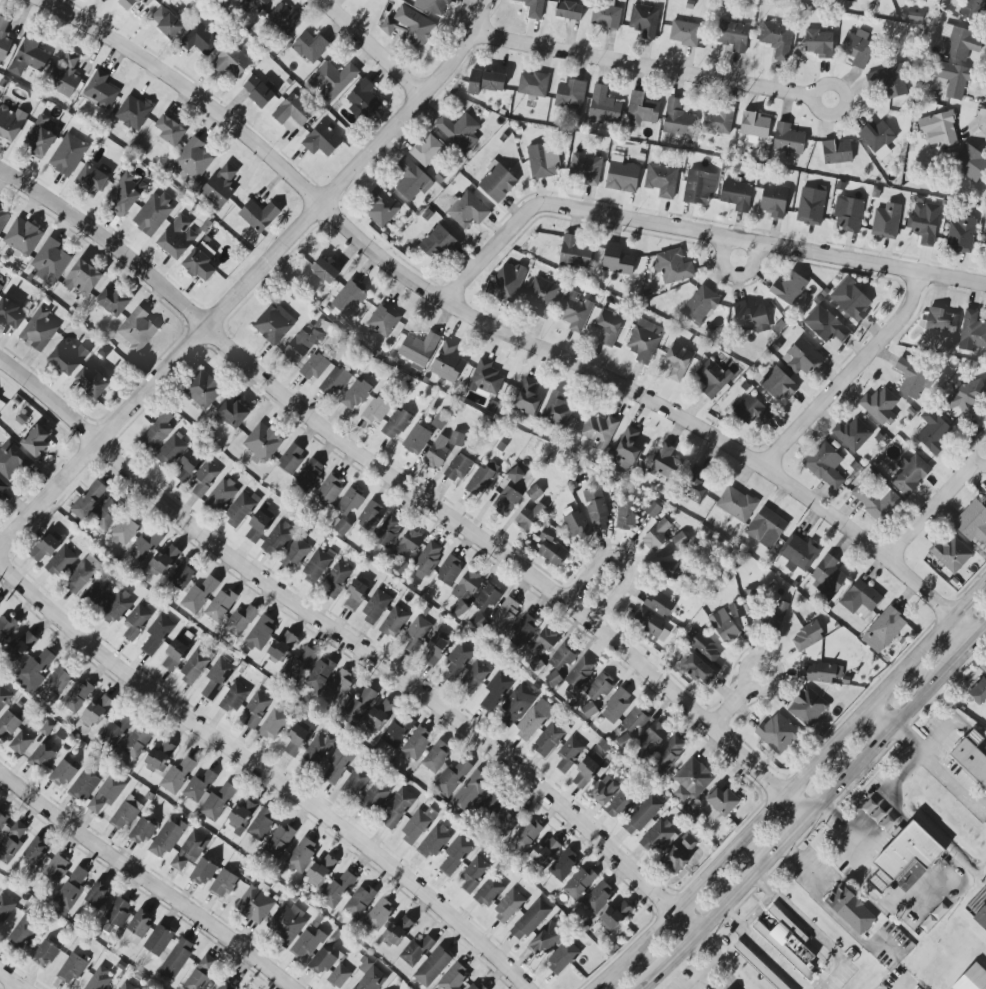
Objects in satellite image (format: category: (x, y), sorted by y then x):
building: (365, 0)
building: (851, 0)
building: (147, 2)
building: (127, 4)
building: (432, 6)
building: (533, 8)
building: (570, 9)
building: (974, 11)
building: (605, 17)
building: (284, 18)
building: (644, 21)
building: (166, 22)
building: (409, 27)
building: (684, 33)
building: (733, 36)
building: (4, 39)
building: (776, 39)
building: (200, 40)
building: (961, 42)
building: (819, 43)
building: (310, 47)
road: (377, 48)
building: (857, 48)
building: (29, 55)
building: (232, 61)
road: (656, 66)
building: (65, 74)
building: (953, 78)
building: (333, 80)
building: (486, 81)
building: (888, 81)
building: (533, 85)
building: (100, 89)
building: (258, 91)
building: (363, 100)
building: (603, 106)
building: (641, 110)
building: (292, 111)
building: (133, 112)
building: (678, 120)
building: (718, 120)
building: (11, 123)
building: (755, 125)
building: (938, 129)
building: (170, 130)
building: (459, 131)
building: (875, 136)
building: (40, 138)
building: (788, 139)
building: (322, 140)
building: (427, 150)
building: (837, 152)
building: (68, 155)
building: (193, 159)
building: (540, 161)
building: (970, 163)
building: (586, 168)
building: (622, 174)
building: (91, 178)
building: (411, 179)
building: (661, 180)
building: (497, 181)
building: (220, 186)
building: (699, 188)
building: (126, 194)
building: (736, 195)
building: (774, 201)
building: (810, 205)
building: (380, 208)
building: (468, 211)
building: (153, 214)
building: (848, 214)
building: (259, 216)
building: (3, 219)
building: (886, 221)
building: (923, 221)
road: (699, 232)
building: (961, 235)
building: (22, 237)
building: (177, 237)
building: (985, 243)
building: (437, 244)
building: (575, 251)
road: (747, 251)
building: (617, 260)
building: (50, 262)
building: (199, 266)
building: (673, 267)
building: (325, 270)
building: (82, 278)
building: (507, 282)
road: (254, 283)
building: (0, 286)
building: (788, 288)
building: (541, 297)
building: (350, 299)
building: (851, 299)
building: (114, 302)
building: (700, 305)
building: (574, 310)
building: (10, 314)
building: (753, 319)
building: (383, 320)
building: (941, 323)
building: (273, 324)
building: (825, 325)
building: (608, 327)
road: (499, 329)
building: (38, 330)
building: (137, 330)
building: (972, 330)
building: (644, 340)
building: (418, 349)
building: (68, 356)
building: (803, 358)
building: (677, 361)
building: (447, 363)
building: (316, 365)
road: (853, 375)
building: (486, 378)
building: (712, 378)
building: (913, 378)
building: (91, 382)
building: (334, 382)
building: (778, 385)
building: (202, 390)
building: (355, 395)
building: (965, 395)
building: (527, 398)
building: (879, 406)
building: (557, 410)
building: (751, 410)
building: (375, 411)
building: (232, 414)
building: (396, 424)
building: (599, 431)
building: (932, 432)
building: (852, 434)
building: (155, 435)
building: (417, 439)
building: (456, 439)
building: (36, 441)
building: (262, 442)
building: (171, 450)
building: (626, 450)
building: (437, 453)
building: (291, 459)
building: (12, 461)
building: (664, 462)
building: (187, 466)
building: (825, 466)
building: (458, 468)
building: (309, 474)
building: (515, 474)
building: (910, 475)
building: (205, 478)
building: (481, 479)
road: (413, 480)
building: (2, 487)
building: (695, 487)
building: (330, 488)
building: (535, 493)
building: (220, 496)
building: (984, 497)
building: (89, 500)
building: (876, 500)
building: (506, 501)
building: (349, 502)
building: (736, 504)
road: (938, 505)
building: (596, 508)
building: (652, 509)
building: (239, 510)
building: (106, 514)
building: (625, 516)
building: (529, 517)
building: (368, 518)
building: (973, 523)
building: (576, 525)
building: (257, 526)
building: (342, 527)
building: (767, 527)
building: (124, 531)
building: (388, 531)
building: (656, 536)
building: (276, 539)
building: (679, 540)
building: (145, 545)
building: (45, 548)
building: (406, 549)
building: (551, 549)
building: (799, 552)
building: (951, 553)
building: (295, 555)
building: (164, 559)
building: (427, 560)
building: (61, 562)
building: (316, 566)
building: (449, 570)
building: (82, 574)
building: (182, 575)
building: (827, 578)
building: (335, 579)
road: (611, 581)
building: (464, 591)
building: (99, 592)
building: (199, 595)
building: (355, 595)
building: (487, 598)
building: (860, 599)
building: (658, 603)
building: (221, 605)
building: (118, 606)
building: (375, 606)
building: (736, 611)
building: (505, 613)
building: (776, 614)
building: (240, 621)
building: (136, 622)
building: (394, 622)
building: (650, 624)
building: (723, 626)
building: (6, 627)
building: (883, 630)
building: (523, 631)
building: (260, 633)
building: (416, 634)
road: (982, 634)
building: (156, 635)
building: (807, 637)
road: (358, 639)
building: (21, 646)
building: (281, 646)
building: (705, 647)
building: (434, 651)
building: (174, 656)
building: (563, 657)
road: (960, 657)
building: (457, 660)
building: (299, 664)
building: (194, 667)
building: (697, 670)
building: (34, 671)
building: (822, 672)
building: (580, 673)
building: (319, 674)
building: (473, 678)
building: (216, 679)
building: (57, 681)
building: (339, 685)
building: (600, 687)
building: (496, 690)
building: (978, 691)
building: (4, 696)
building: (77, 696)
building: (234, 698)
road: (918, 702)
building: (359, 705)
building: (616, 705)
road: (737, 705)
building: (515, 706)
building: (807, 706)
building: (254, 710)
building: (589, 710)
building: (96, 711)
building: (379, 716)
road: (881, 716)
building: (534, 719)
building: (634, 720)
building: (8, 725)
building: (272, 725)
building: (396, 732)
building: (110, 734)
building: (653, 734)
building: (777, 734)
road: (975, 737)
road: (909, 738)
building: (973, 738)
building: (548, 739)
building: (295, 740)
building: (136, 741)
building: (20, 743)
building: (417, 743)
road: (928, 744)
road: (983, 744)
building: (318, 750)
building: (669, 753)
building: (568, 754)
building: (159, 755)
building: (41, 757)
building: (436, 757)
building: (970, 761)
road: (267, 765)
building: (337, 765)
building: (585, 772)
building: (62, 774)
building: (177, 776)
road: (798, 777)
building: (451, 778)
building: (691, 780)
building: (355, 782)
building: (84, 786)
building: (603, 791)
building: (107, 793)
building: (468, 793)
building: (208, 795)
building: (375, 797)
road: (966, 799)
building: (722, 801)
building: (492, 803)
building: (618, 805)
building: (396, 809)
building: (126, 813)
building: (642, 815)
building: (240, 817)
building: (3, 819)
building: (509, 819)
building: (261, 824)
building: (417, 825)
road: (841, 825)
building: (142, 831)
building: (526, 835)
building: (657, 836)
building: (166, 838)
building: (279, 841)
building: (432, 842)
building: (688, 842)
building: (11, 843)
building: (190, 850)
building: (35, 851)
building: (545, 852)
building: (301, 855)
building: (455, 855)
building: (904, 855)
building: (674, 861)
road: (768, 861)
building: (563, 865)
building: (56, 867)
building: (321, 870)
building: (202, 872)
building: (473, 873)
road: (147, 879)
building: (223, 883)
building: (579, 883)
building: (71, 888)
building: (337, 890)
building: (489, 892)
building: (98, 894)
building: (597, 897)
building: (358, 901)
building: (255, 903)
building: (508, 906)
building: (5, 907)
road: (755, 909)
building: (849, 910)
building: (378, 914)
building: (615, 915)
building: (981, 918)
building: (530, 920)
building: (286, 924)
building: (787, 925)
building: (138, 927)
building: (22, 931)
building: (397, 931)
road: (810, 931)
building: (546, 938)
building: (158, 940)
building: (306, 944)
road: (709, 944)
building: (791, 944)
road: (764, 949)
building: (782, 949)
building: (415, 951)
building: (45, 954)
building: (562, 957)
building: (175, 959)
building: (321, 962)
building: (758, 966)
building: (432, 967)
building: (71, 968)
building: (201, 973)
road: (702, 973)
road: (727, 973)
building: (339, 976)
building: (369, 976)
road: (15, 977)
building: (99, 978)
building: (454, 978)
building: (972, 979)
road: (606, 983)
road: (901, 985)
building: (127, 986)
building: (224, 986)
building: (478, 986)
road: (25, 987)

